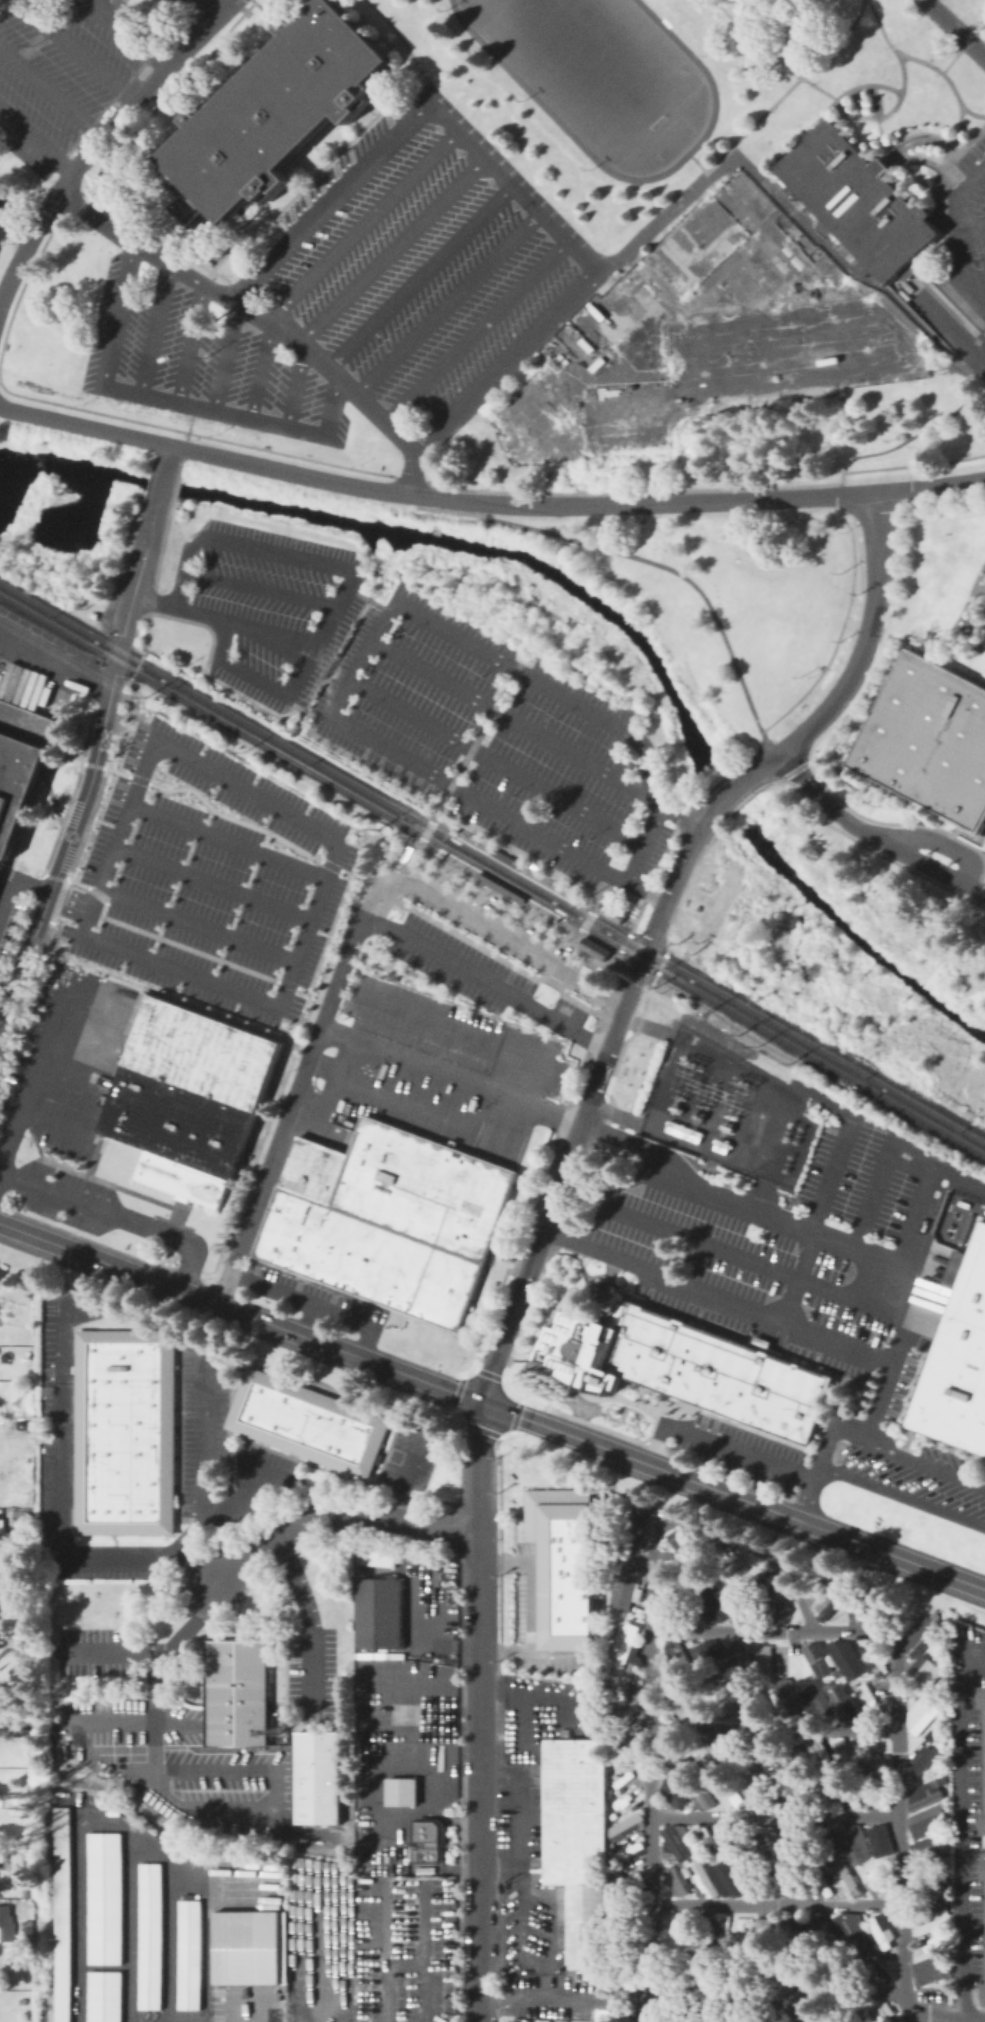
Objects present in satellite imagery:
road: (207, 9)
road: (954, 29)
road: (132, 34)
road: (960, 46)
road: (407, 48)
road: (78, 52)
park: (590, 64)
parking lot: (66, 75)
road: (943, 77)
road: (785, 90)
road: (52, 91)
track: (529, 92)
road: (106, 106)
road: (894, 106)
building: (277, 109)
road: (412, 119)
park: (670, 136)
road: (36, 140)
road: (103, 140)
building: (857, 199)
parking lot: (980, 201)
road: (676, 204)
road: (16, 225)
road: (363, 225)
road: (957, 234)
road: (972, 236)
road: (391, 249)
parking lot: (419, 257)
road: (419, 275)
road: (977, 276)
road: (447, 301)
road: (248, 310)
road: (941, 316)
road: (155, 327)
road: (474, 329)
road: (188, 341)
road: (981, 355)
road: (224, 356)
parking lot: (201, 361)
road: (260, 369)
parking lot: (981, 379)
road: (299, 387)
road: (167, 398)
road: (169, 453)
road: (209, 455)
road: (162, 483)
road: (931, 488)
road: (450, 502)
road: (679, 503)
road: (485, 512)
road: (676, 571)
road: (259, 588)
road: (131, 599)
road: (337, 600)
road: (154, 601)
parking lot: (273, 609)
road: (268, 631)
road: (867, 638)
road: (54, 663)
road: (346, 680)
road: (562, 695)
road: (302, 709)
building: (929, 740)
road: (477, 742)
parking lot: (501, 742)
road: (771, 748)
road: (495, 760)
road: (767, 763)
road: (730, 774)
building: (22, 777)
road: (730, 793)
road: (84, 794)
road: (685, 816)
road: (233, 818)
building: (981, 829)
building: (456, 830)
road: (428, 831)
road: (963, 832)
road: (870, 838)
road: (228, 840)
road: (941, 843)
road: (865, 847)
building: (405, 853)
building: (441, 855)
building: (505, 858)
road: (665, 859)
road: (412, 860)
road: (517, 860)
railway: (492, 861)
railway: (429, 863)
railway: (492, 873)
road: (326, 874)
road: (677, 880)
road: (212, 882)
parking lot: (983, 884)
road: (400, 885)
building: (499, 887)
road: (499, 892)
railway: (579, 893)
road: (616, 893)
building: (570, 894)
road: (982, 894)
building: (572, 896)
road: (495, 897)
road: (15, 901)
road: (643, 908)
building: (612, 911)
road: (512, 914)
building: (555, 919)
building: (557, 921)
road: (588, 921)
road: (197, 926)
road: (485, 928)
building: (593, 947)
road: (623, 948)
road: (572, 950)
road: (495, 956)
road: (24, 960)
road: (228, 962)
road: (559, 973)
parking lot: (486, 979)
road: (637, 979)
road: (486, 981)
road: (87, 1020)
road: (618, 1029)
road: (34, 1064)
road: (452, 1072)
road: (330, 1092)
building: (193, 1101)
building: (672, 1107)
power substation: (726, 1111)
road: (287, 1113)
road: (434, 1113)
road: (622, 1114)
building: (697, 1115)
road: (52, 1122)
building: (682, 1131)
road: (498, 1139)
road: (768, 1163)
road: (829, 1174)
road: (872, 1194)
road: (732, 1205)
road: (103, 1211)
road: (917, 1215)
building: (390, 1219)
road: (544, 1227)
road: (721, 1249)
road: (110, 1263)
building: (2, 1274)
road: (184, 1276)
road: (798, 1277)
road: (718, 1295)
road: (304, 1298)
road: (309, 1320)
road: (364, 1344)
road: (897, 1350)
road: (351, 1354)
building: (957, 1358)
building: (685, 1367)
building: (307, 1423)
road: (481, 1427)
building: (125, 1432)
road: (655, 1449)
road: (737, 1451)
road: (821, 1461)
road: (925, 1462)
road: (625, 1472)
road: (406, 1476)
road: (243, 1481)
road: (901, 1496)
road: (734, 1497)
road: (334, 1511)
building: (23, 1517)
building: (635, 1530)
road: (710, 1530)
building: (3, 1531)
road: (478, 1536)
building: (21, 1543)
road: (198, 1550)
building: (684, 1552)
road: (101, 1559)
building: (373, 1559)
building: (727, 1562)
road: (193, 1567)
building: (557, 1568)
building: (698, 1575)
building: (828, 1579)
road: (293, 1581)
building: (622, 1591)
building: (672, 1591)
building: (830, 1599)
building: (2, 1601)
building: (709, 1601)
building: (772, 1601)
building: (741, 1603)
building: (855, 1604)
building: (871, 1605)
road: (528, 1606)
building: (847, 1606)
building: (379, 1614)
building: (1, 1616)
building: (623, 1624)
road: (773, 1629)
building: (919, 1636)
road: (425, 1643)
building: (624, 1646)
road: (154, 1652)
building: (814, 1654)
building: (677, 1656)
building: (702, 1656)
building: (871, 1657)
building: (732, 1658)
building: (841, 1658)
building: (769, 1659)
building: (823, 1661)
road: (307, 1663)
building: (629, 1666)
road: (24, 1669)
building: (922, 1672)
park: (17, 1684)
road: (476, 1688)
building: (853, 1688)
building: (196, 1691)
building: (237, 1694)
building: (786, 1695)
building: (982, 1697)
building: (680, 1700)
building: (757, 1700)
building: (705, 1701)
building: (815, 1701)
building: (842, 1701)
building: (871, 1701)
building: (624, 1702)
building: (725, 1702)
building: (920, 1714)
building: (285, 1718)
building: (623, 1718)
road: (133, 1720)
building: (619, 1722)
road: (521, 1725)
road: (774, 1729)
building: (928, 1735)
building: (733, 1752)
building: (759, 1752)
building: (674, 1753)
building: (707, 1753)
building: (819, 1753)
building: (845, 1754)
building: (872, 1754)
building: (884, 1755)
building: (791, 1756)
building: (619, 1757)
building: (923, 1758)
building: (779, 1768)
road: (386, 1769)
road: (141, 1771)
building: (318, 1777)
building: (685, 1778)
building: (622, 1779)
road: (463, 1784)
building: (672, 1790)
building: (727, 1791)
building: (757, 1791)
building: (703, 1792)
building: (819, 1792)
building: (874, 1792)
building: (925, 1792)
building: (401, 1793)
building: (787, 1793)
building: (846, 1793)
building: (624, 1797)
road: (651, 1808)
road: (898, 1809)
building: (611, 1815)
road: (775, 1815)
road: (221, 1818)
road: (101, 1821)
building: (983, 1823)
building: (926, 1826)
road: (959, 1827)
building: (579, 1838)
building: (733, 1839)
building: (878, 1839)
building: (704, 1840)
building: (761, 1840)
building: (852, 1840)
building: (429, 1841)
building: (676, 1841)
building: (789, 1841)
building: (817, 1842)
road: (480, 1845)
building: (831, 1845)
building: (925, 1855)
road: (500, 1867)
building: (983, 1868)
building: (683, 1870)
building: (615, 1872)
building: (727, 1877)
building: (844, 1877)
building: (756, 1878)
building: (793, 1879)
building: (817, 1879)
building: (704, 1880)
building: (673, 1881)
road: (531, 1887)
building: (928, 1887)
building: (27, 1892)
building: (105, 1899)
road: (777, 1904)
building: (928, 1914)
building: (63, 1915)
road: (168, 1918)
building: (7, 1924)
building: (703, 1927)
building: (26, 1929)
building: (674, 1929)
building: (763, 1930)
building: (853, 1930)
building: (792, 1931)
building: (820, 1931)
building: (879, 1931)
building: (719, 1935)
building: (150, 1936)
building: (737, 1938)
road: (312, 1941)
building: (626, 1941)
building: (665, 1945)
building: (932, 1945)
building: (248, 1949)
building: (602, 1949)
road: (383, 1951)
road: (423, 1951)
building: (189, 1953)
building: (610, 1959)
building: (669, 1960)
building: (742, 1963)
building: (788, 1963)
building: (858, 1963)
building: (701, 1965)
building: (756, 1965)
road: (403, 1966)
building: (735, 1966)
building: (849, 1967)
building: (876, 1967)
building: (625, 1968)
building: (813, 1969)
building: (930, 1975)
building: (608, 1982)
road: (778, 1988)
building: (984, 1995)
building: (104, 1997)
road: (546, 1998)
road: (254, 2007)
building: (738, 2009)
building: (651, 2011)
building: (709, 2011)
building: (765, 2011)
building: (879, 2011)
building: (677, 2012)
building: (796, 2012)
building: (820, 2012)
building: (849, 2012)
building: (0, 2015)
road: (936, 2015)

